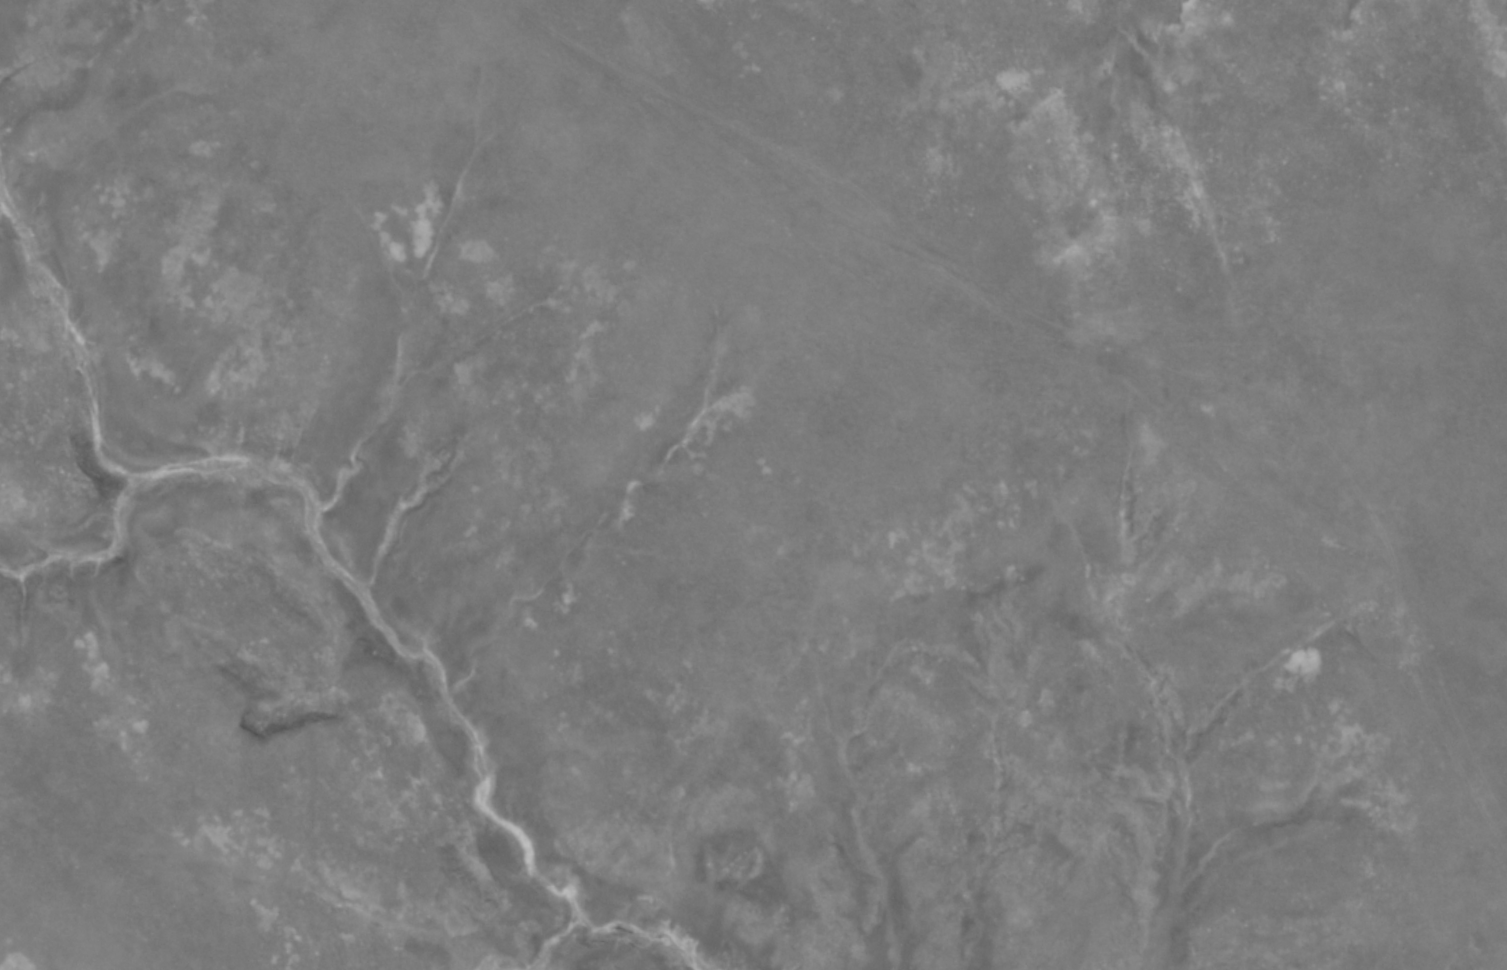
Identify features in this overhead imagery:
road: (1064, 301)

